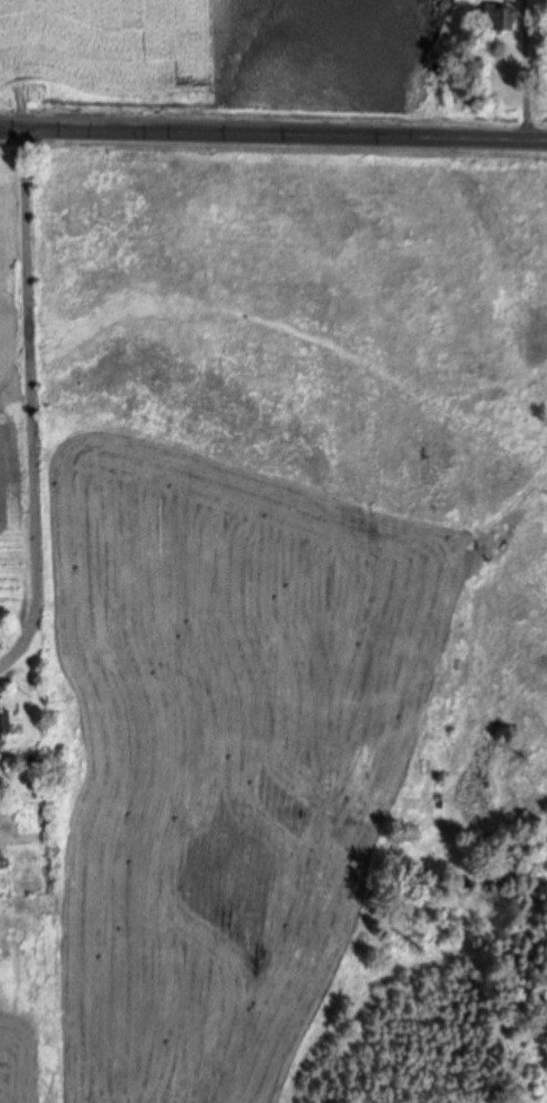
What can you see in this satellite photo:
building: (504, 17)
road: (273, 134)
road: (25, 379)
building: (10, 726)

